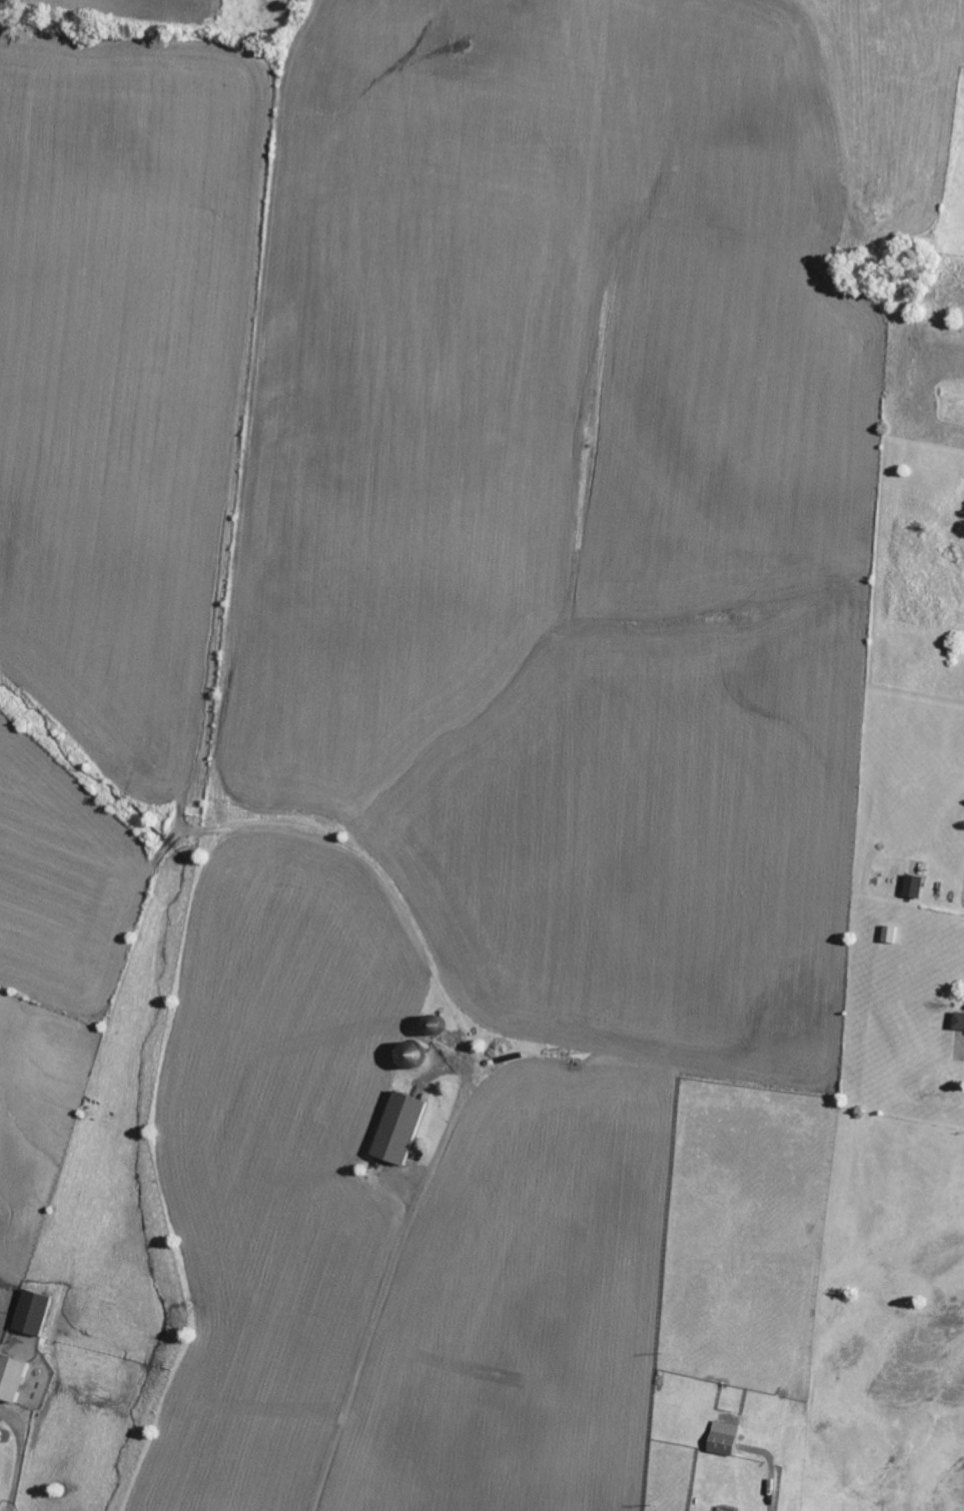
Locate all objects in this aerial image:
building: (916, 887)
road: (940, 945)
building: (961, 1022)
building: (405, 1128)
road: (378, 1304)
building: (39, 1313)
building: (16, 1378)
building: (729, 1439)

